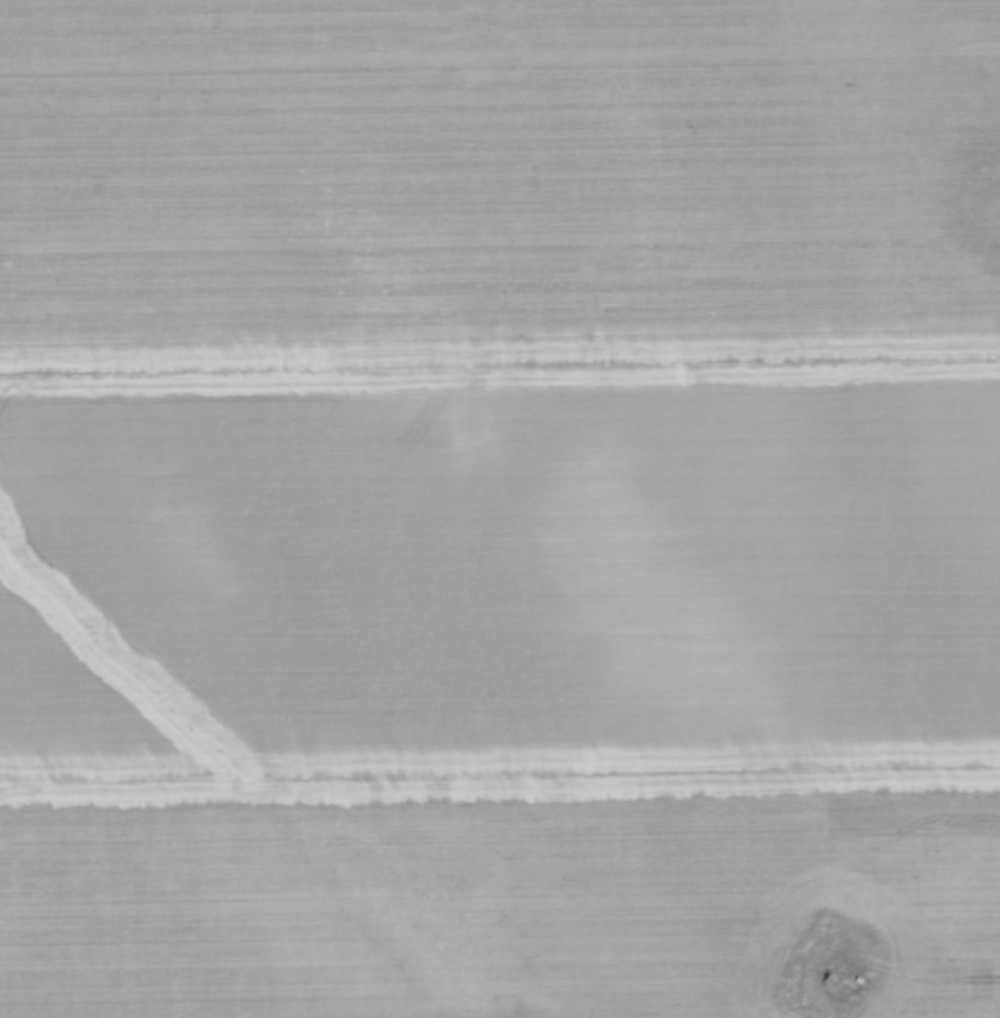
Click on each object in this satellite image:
crop: (499, 507)

